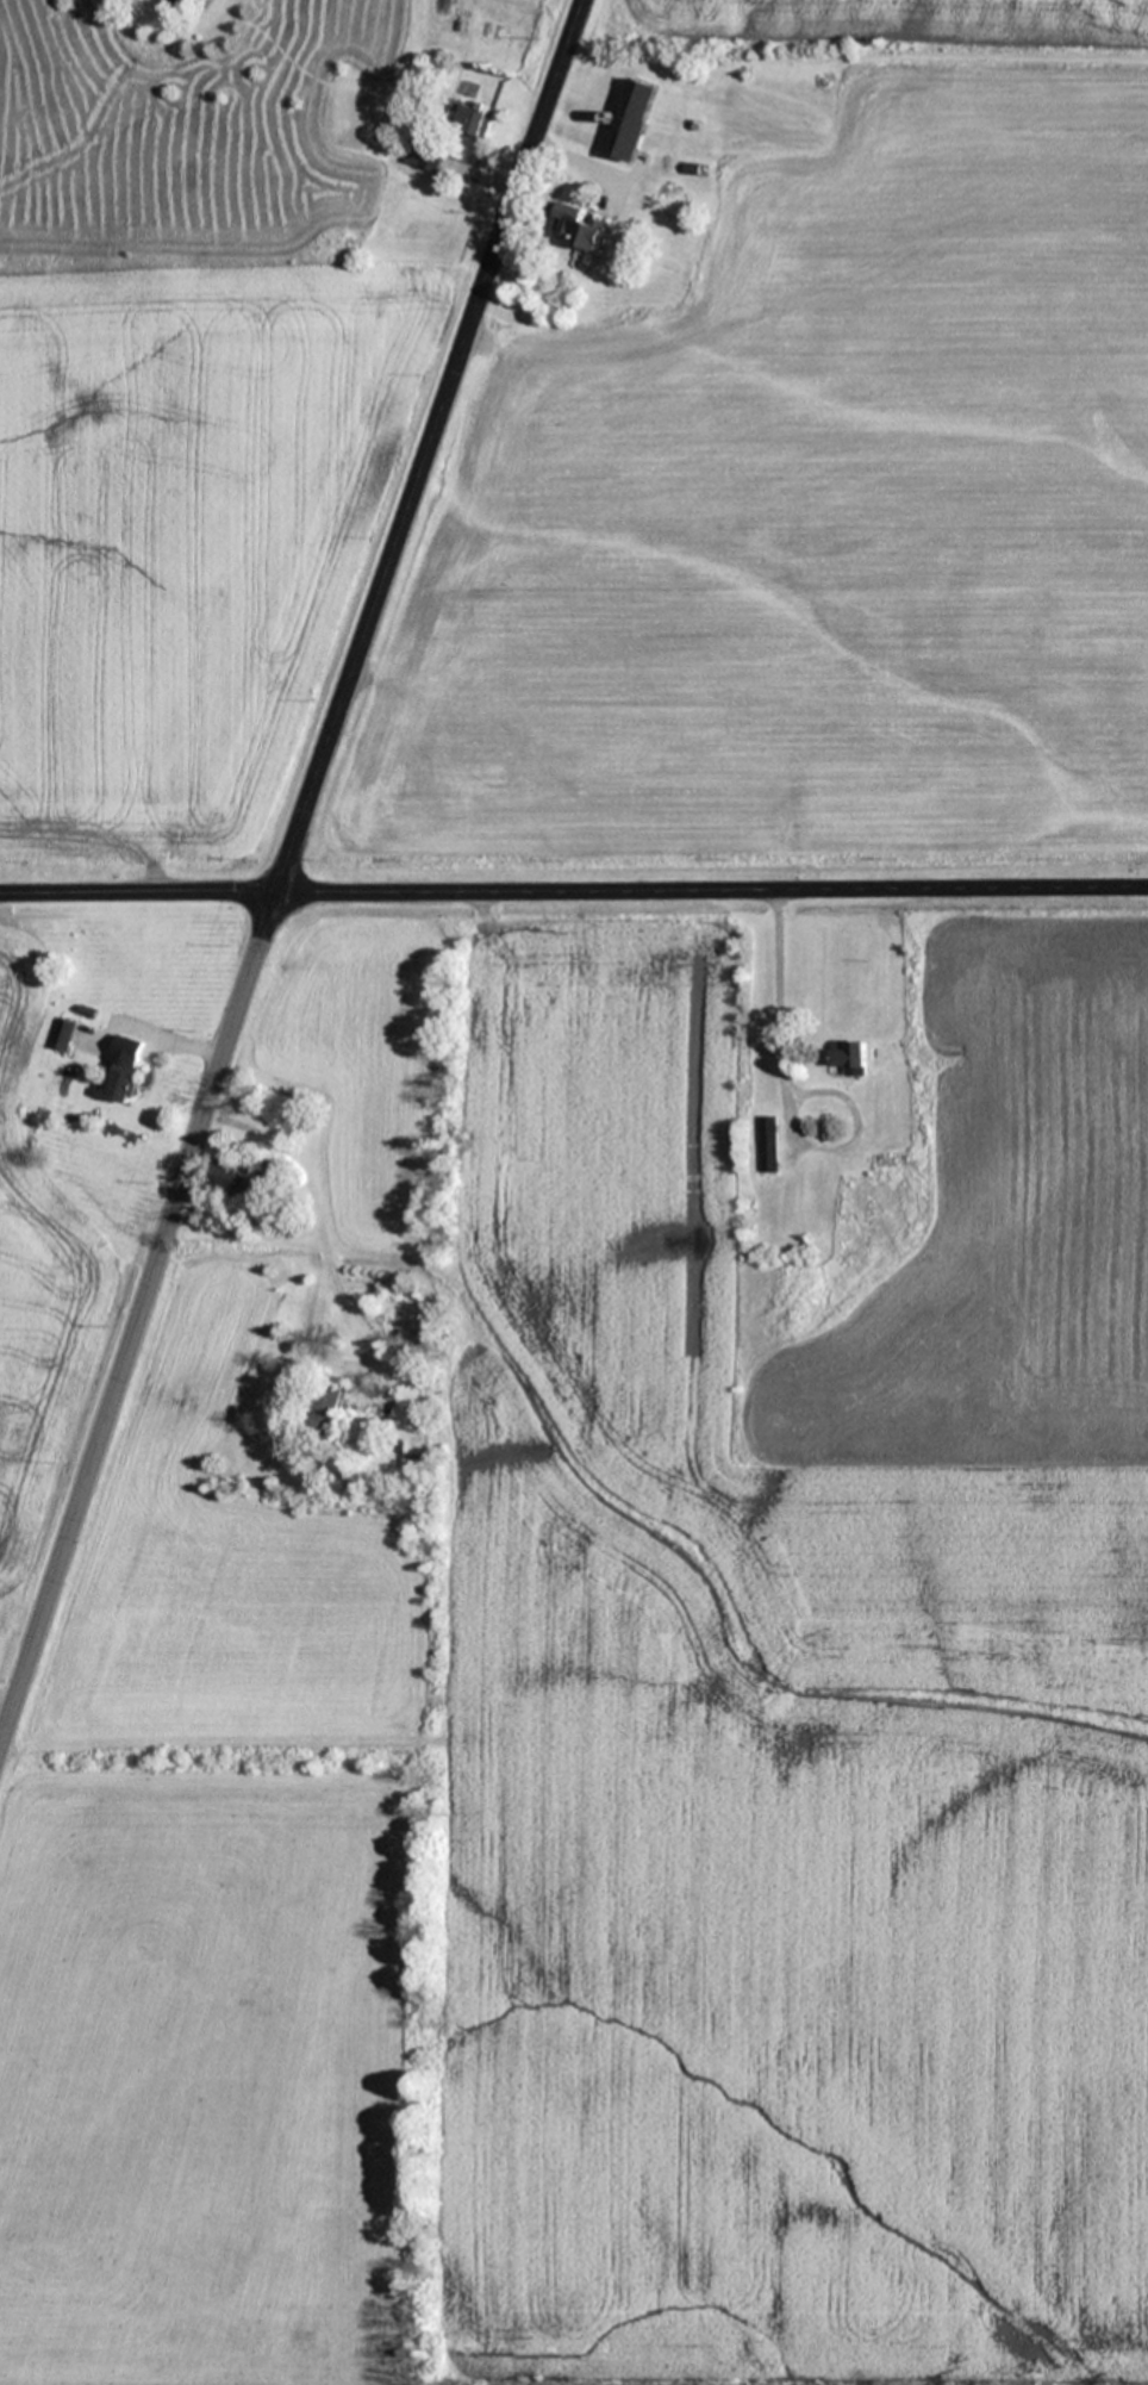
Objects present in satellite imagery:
building: (470, 118)
building: (635, 119)
building: (424, 151)
building: (581, 236)
road: (283, 867)
road: (574, 886)
building: (851, 1057)
building: (124, 1069)
building: (768, 1151)
building: (884, 1159)
building: (241, 1179)
building: (326, 1411)

